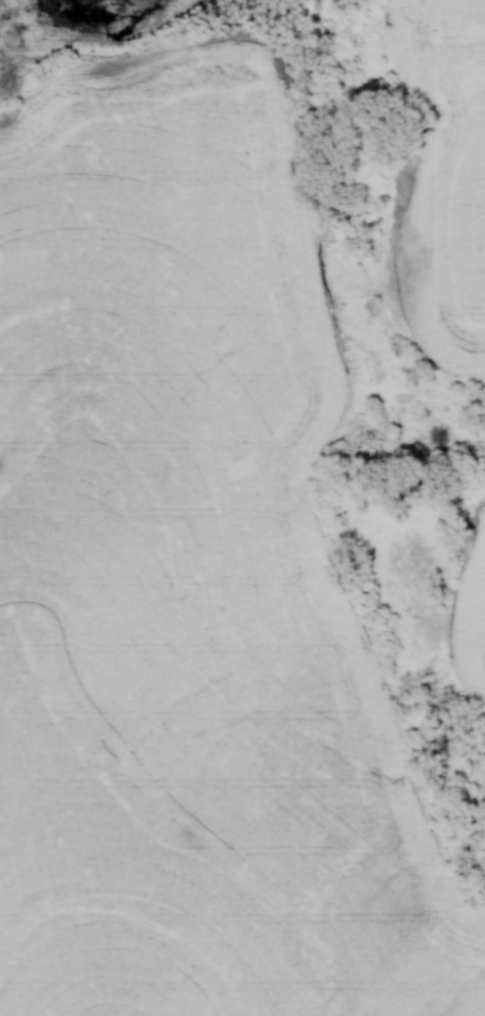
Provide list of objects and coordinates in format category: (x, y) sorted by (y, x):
crop: (446, 175)
crop: (190, 583)
crop: (468, 620)

